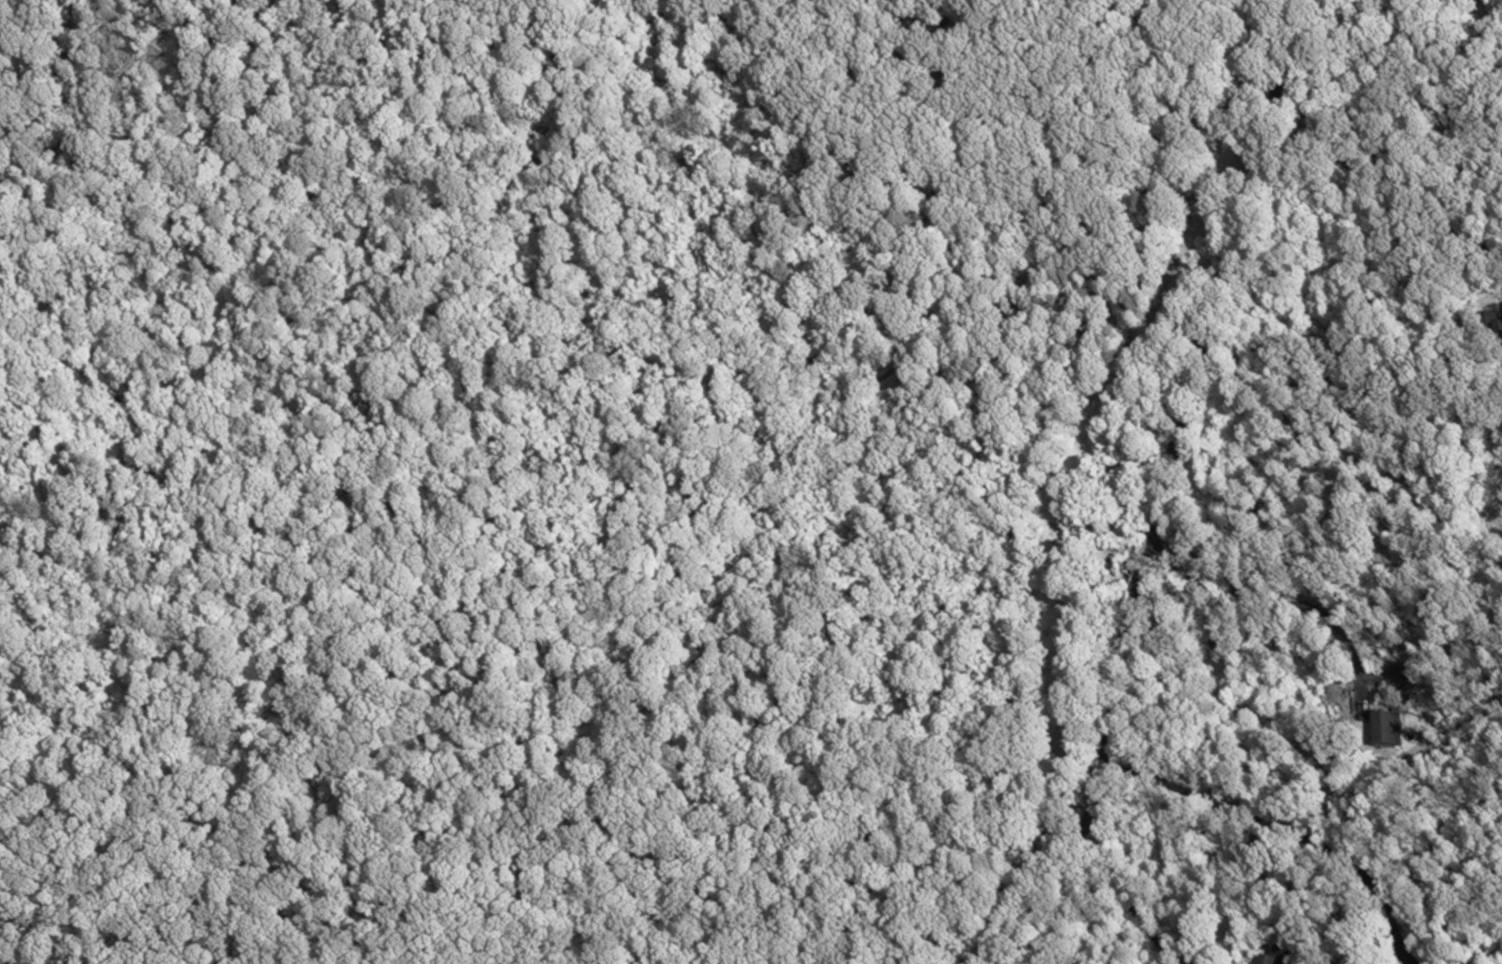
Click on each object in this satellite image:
road: (1387, 108)
road: (1405, 199)
building: (1496, 332)
road: (1162, 492)
road: (1279, 605)
building: (1386, 729)
road: (1283, 830)
road: (1126, 898)
building: (1271, 957)

